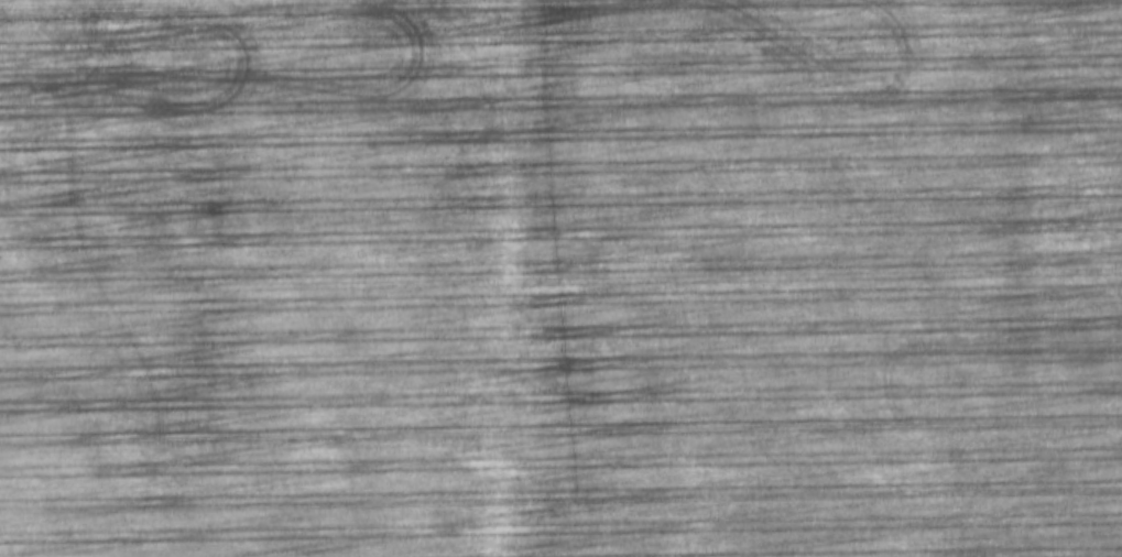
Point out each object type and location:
crop: (560, 278)

